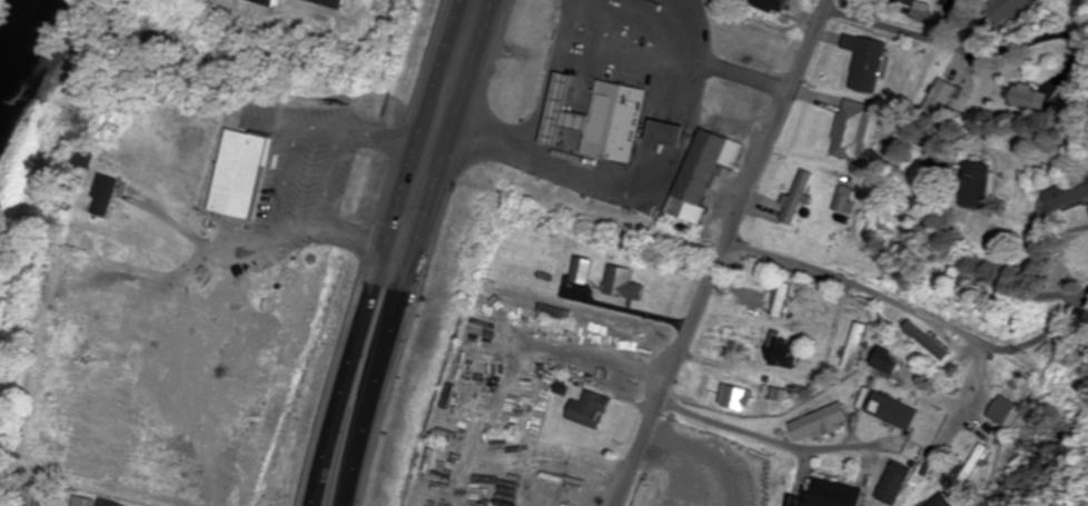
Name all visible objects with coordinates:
building: (951, 0)
building: (268, 2)
building: (333, 2)
building: (769, 6)
building: (1006, 8)
river: (18, 34)
building: (752, 42)
building: (862, 62)
building: (1025, 93)
building: (940, 98)
building: (600, 117)
building: (849, 128)
building: (665, 133)
building: (87, 158)
building: (701, 173)
building: (245, 176)
building: (972, 183)
building: (1064, 191)
building: (108, 196)
building: (793, 196)
road: (386, 251)
road: (424, 252)
road: (723, 252)
building: (584, 270)
building: (624, 284)
building: (777, 302)
building: (117, 304)
road: (917, 309)
building: (918, 344)
building: (850, 347)
building: (1045, 351)
building: (779, 353)
building: (881, 361)
building: (732, 398)
building: (588, 410)
building: (897, 414)
building: (817, 421)
road: (774, 440)
building: (971, 464)
building: (762, 479)
building: (825, 495)
building: (96, 502)
building: (667, 505)

